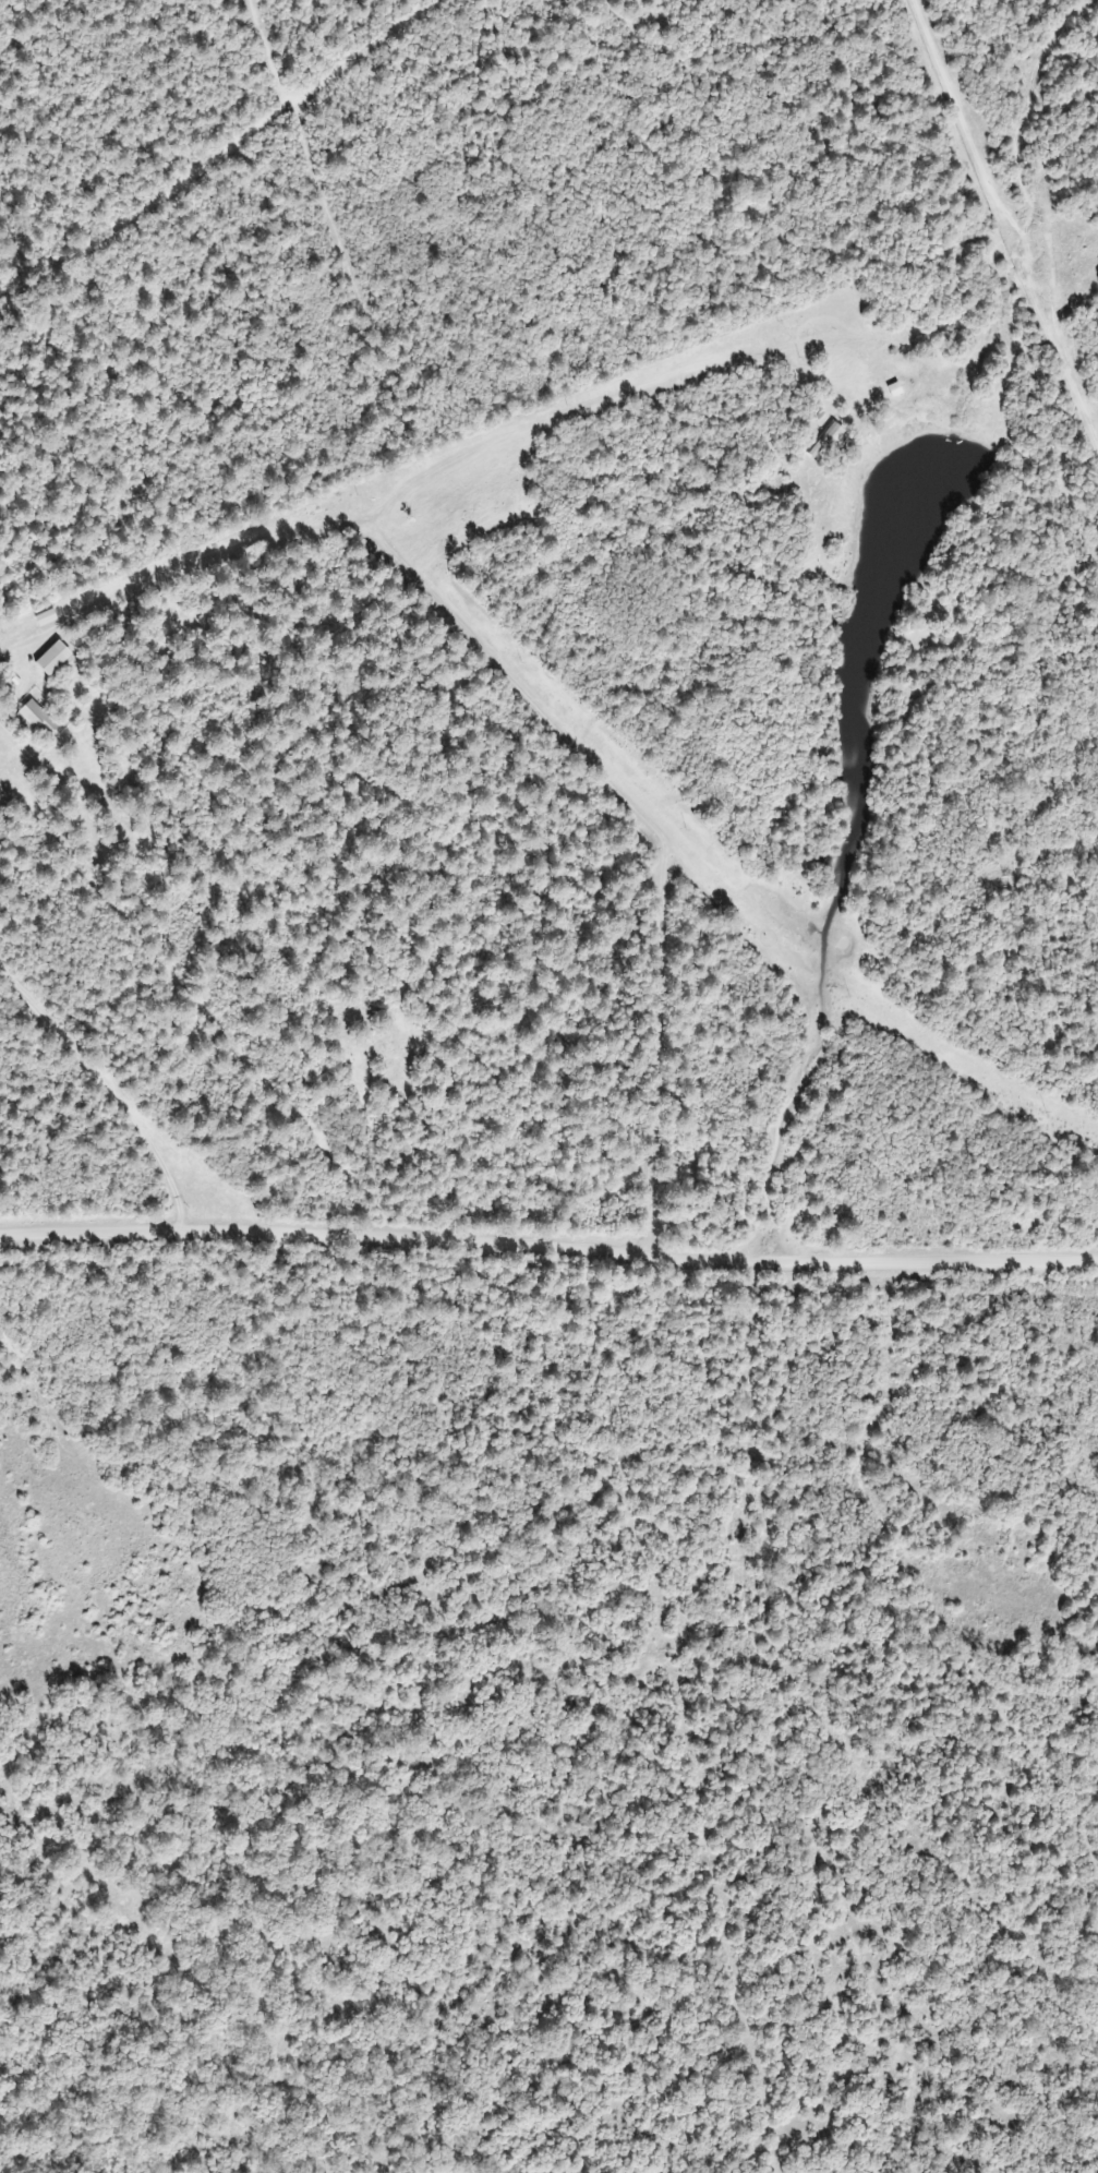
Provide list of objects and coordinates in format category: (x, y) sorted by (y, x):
building: (819, 441)
building: (37, 617)
building: (44, 657)
building: (25, 717)
road: (140, 1229)

